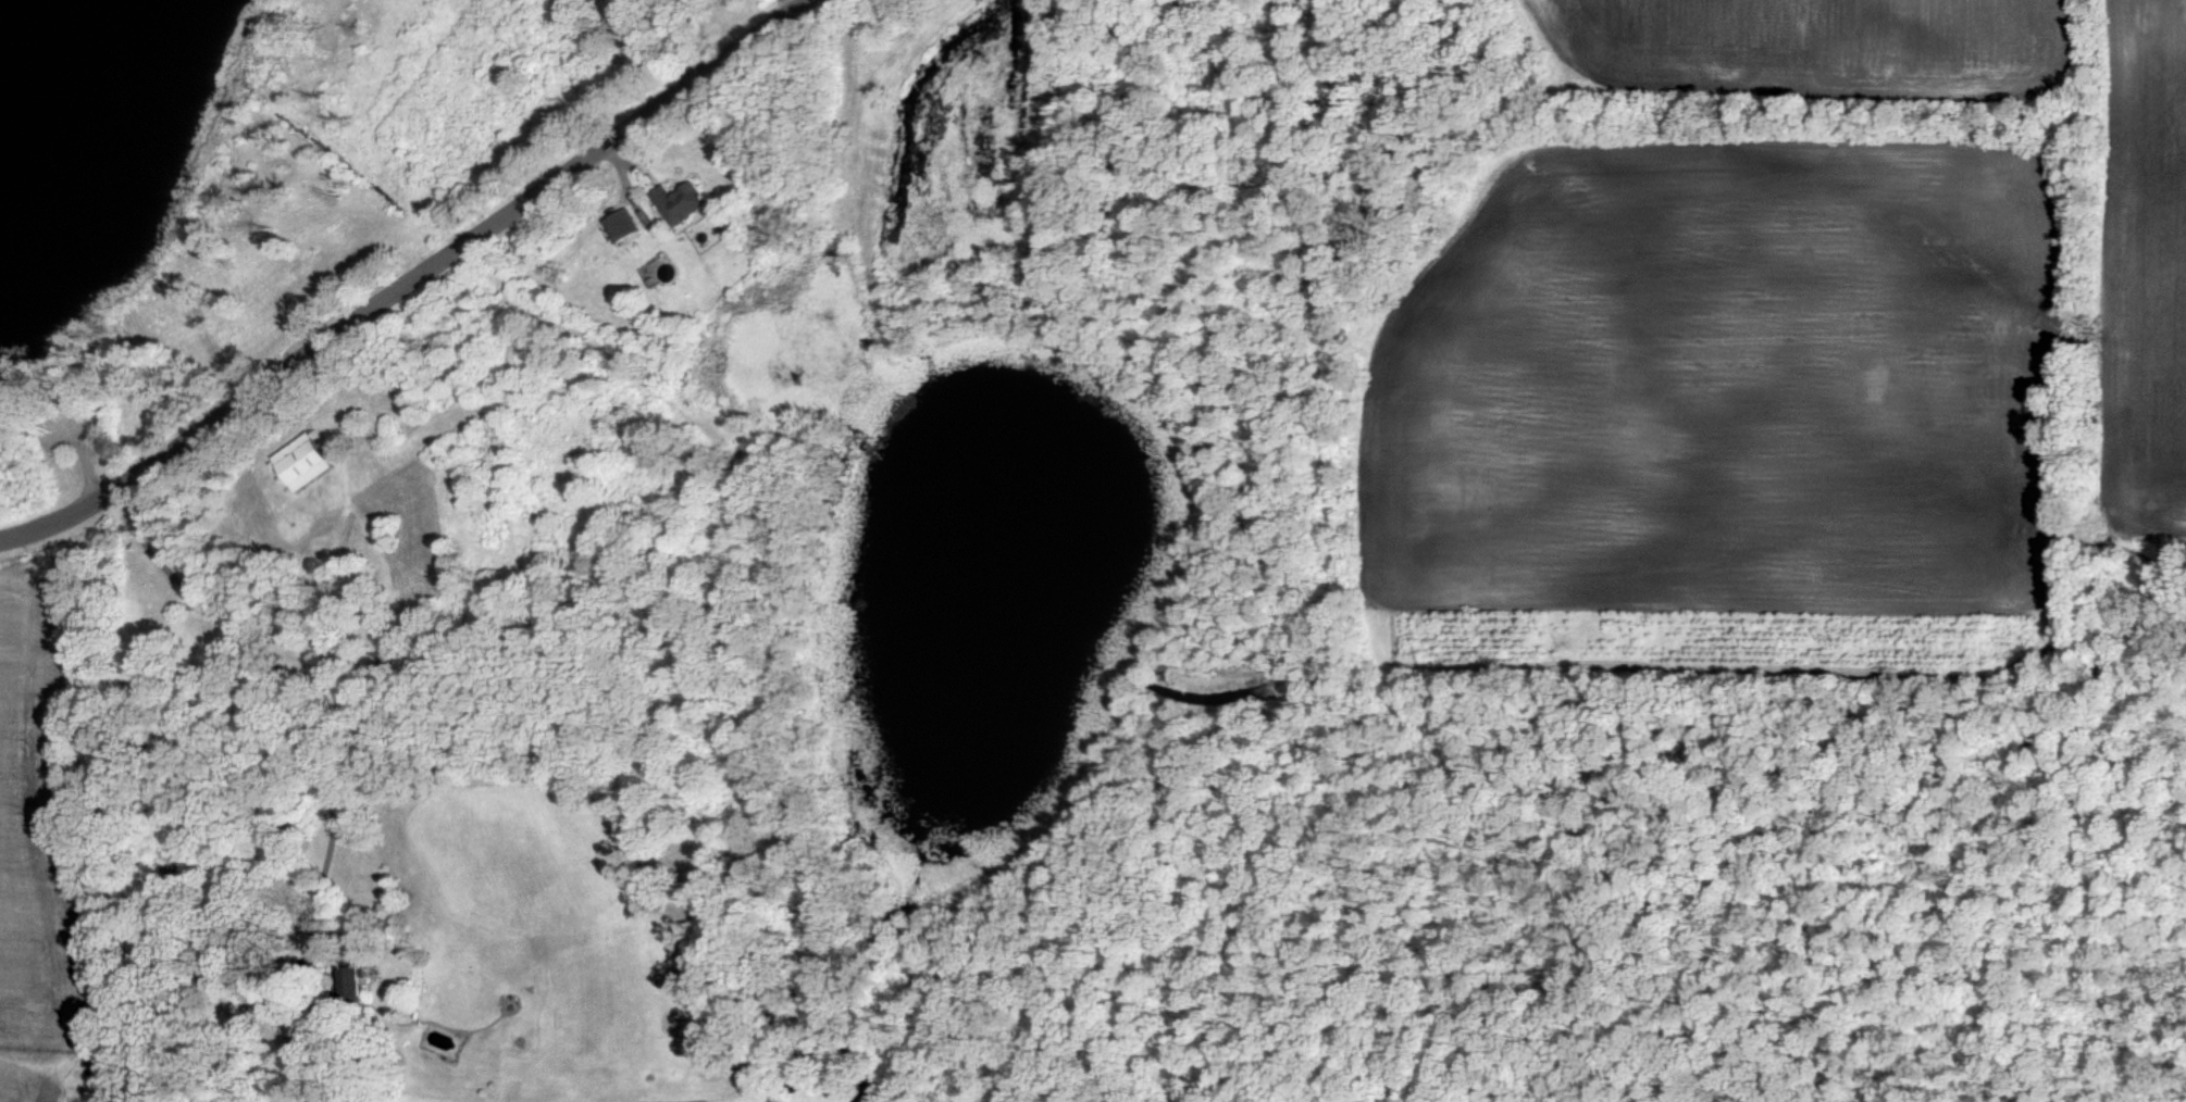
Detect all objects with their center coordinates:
road: (642, 0)
road: (777, 4)
road: (661, 40)
building: (668, 201)
building: (610, 224)
road: (405, 284)
building: (298, 461)
road: (275, 690)
building: (347, 985)

